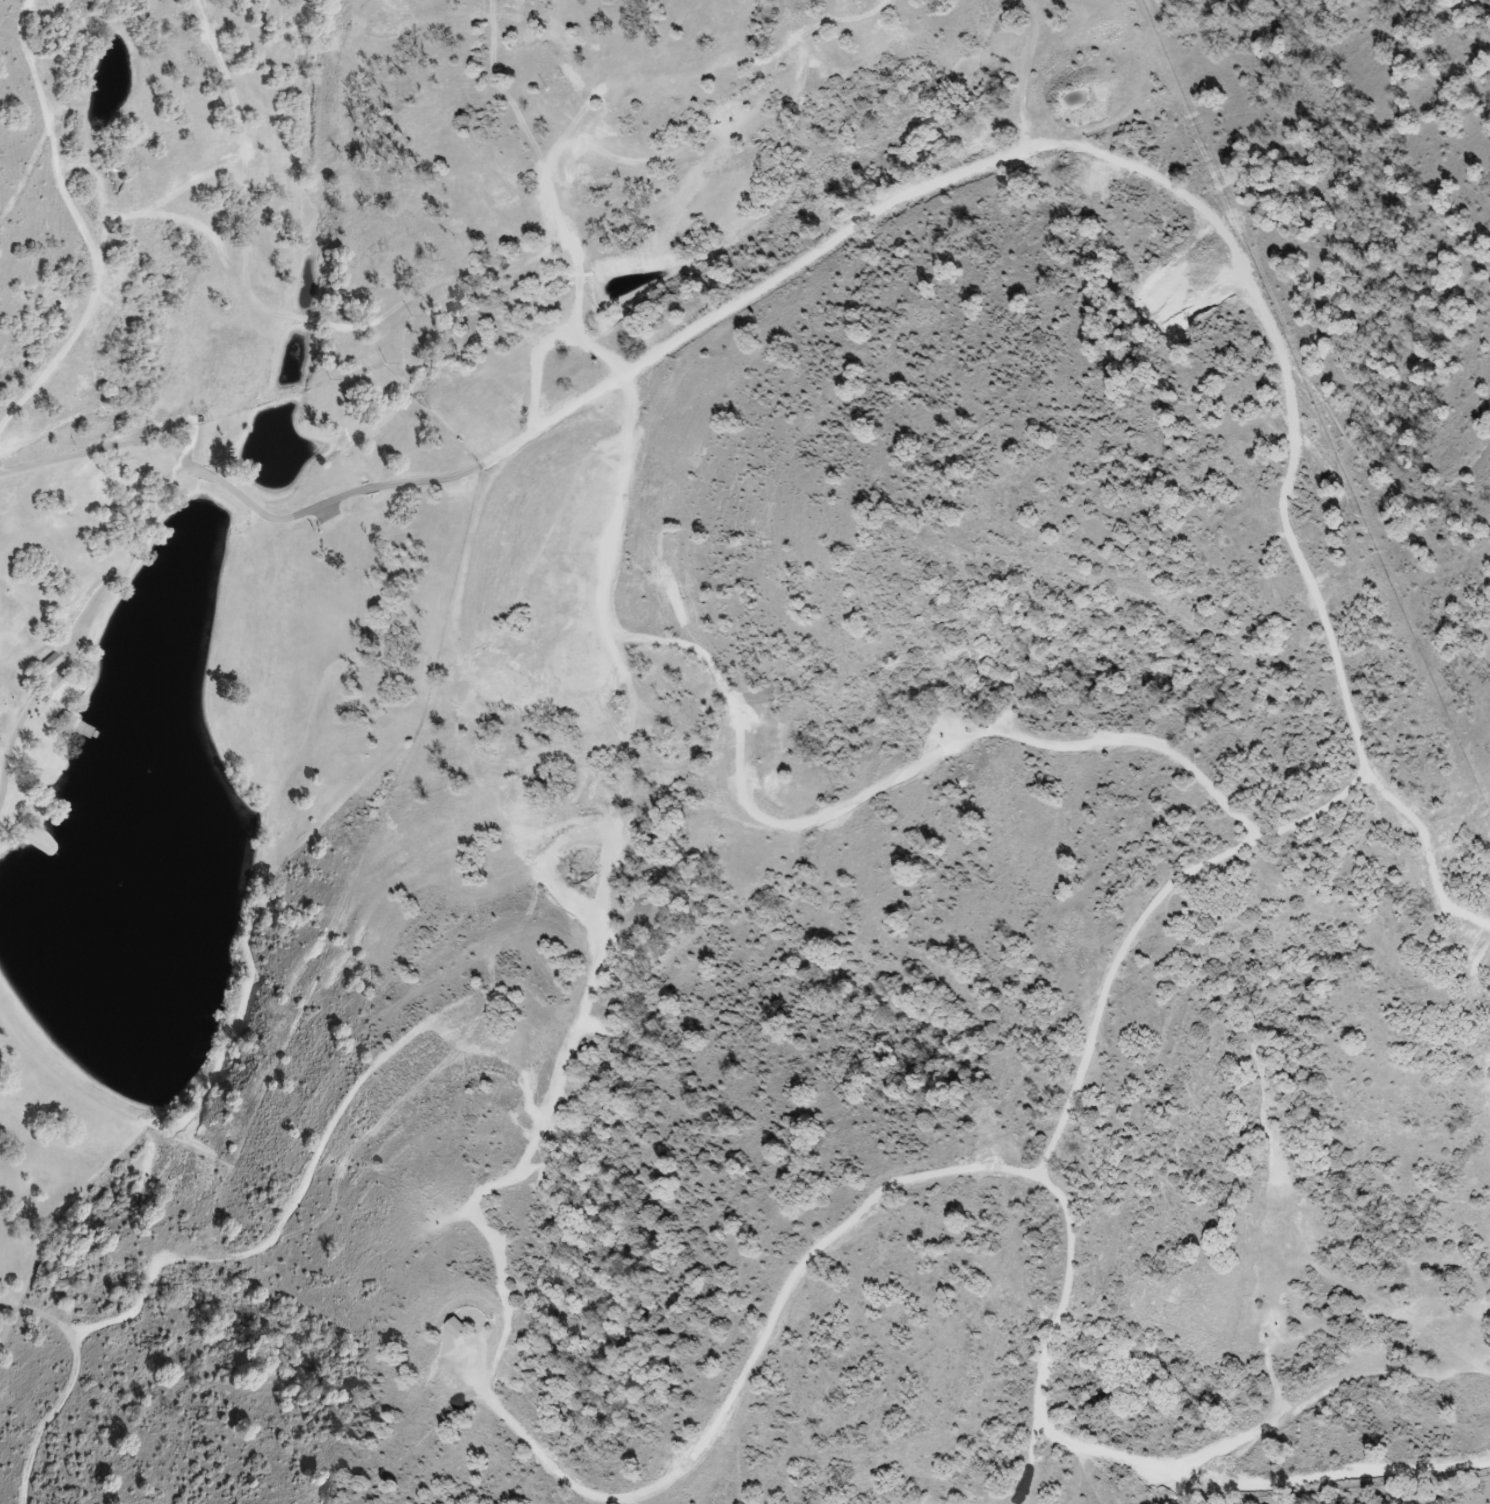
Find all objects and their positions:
building: (53, 663)
building: (69, 720)

